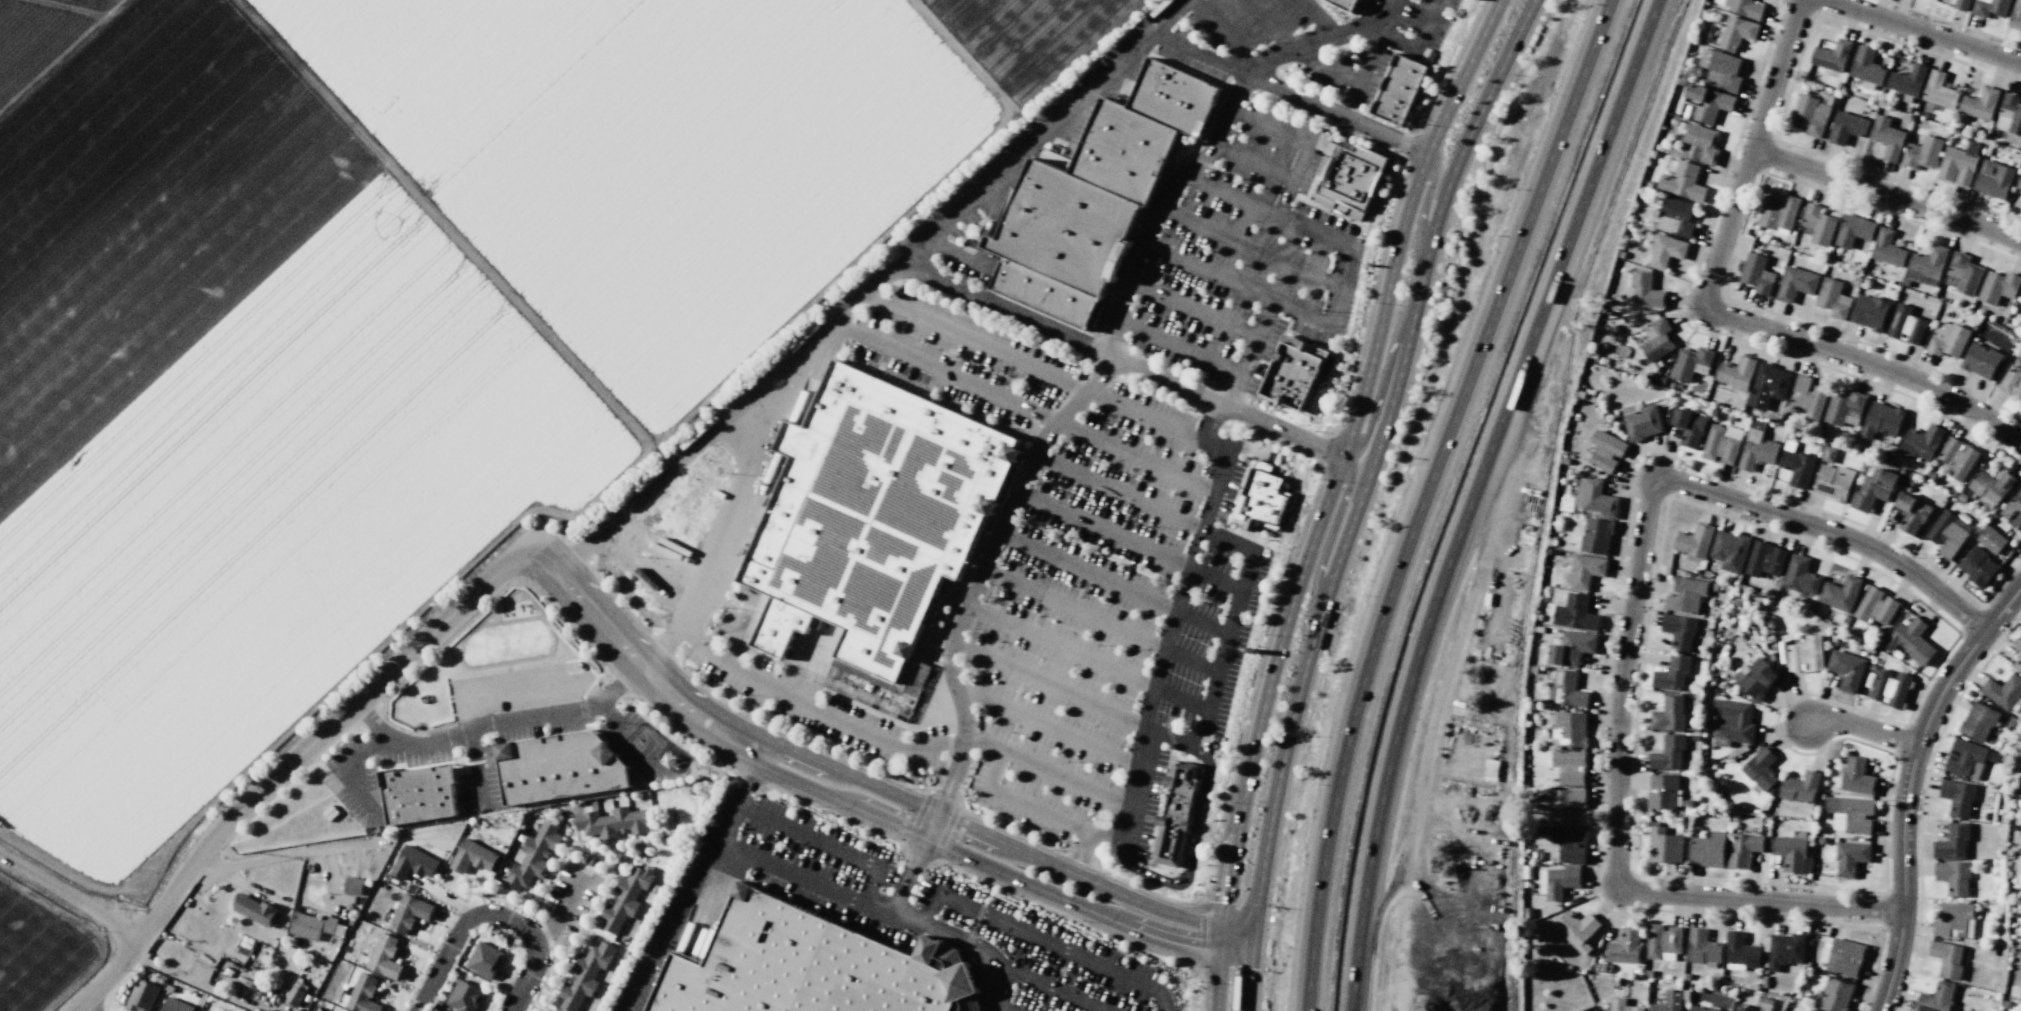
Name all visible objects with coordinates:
building: (1345, 4)
building: (1962, 5)
road: (1391, 6)
building: (1747, 8)
building: (1991, 8)
building: (2015, 16)
road: (1320, 17)
parking lot: (1419, 18)
road: (1271, 24)
parking lot: (1234, 30)
building: (1736, 32)
road: (1916, 33)
road: (1225, 35)
road: (1398, 41)
road: (1199, 55)
building: (1831, 55)
building: (1866, 66)
building: (1721, 70)
road: (1343, 73)
building: (1907, 80)
building: (1399, 89)
building: (1939, 91)
building: (1708, 103)
building: (1980, 104)
road: (1337, 114)
building: (1811, 115)
building: (2009, 115)
building: (1846, 127)
building: (1887, 138)
road: (1305, 142)
building: (1699, 144)
road: (1211, 149)
building: (1922, 153)
road: (1752, 155)
road: (1255, 161)
building: (1959, 164)
building: (1348, 177)
building: (1993, 179)
building: (1683, 182)
road: (984, 186)
building: (2018, 188)
building: (1096, 196)
road: (1429, 196)
road: (1887, 197)
building: (1778, 213)
road: (1282, 217)
building: (1675, 217)
building: (1817, 225)
building: (1853, 230)
road: (1247, 248)
building: (1887, 248)
building: (1665, 251)
parking lot: (1246, 257)
building: (1927, 266)
road: (1206, 272)
building: (1757, 274)
building: (1962, 274)
building: (1796, 283)
building: (1998, 287)
building: (1645, 290)
building: (2020, 296)
building: (1833, 298)
road: (1191, 308)
road: (1006, 310)
building: (1869, 312)
road: (1317, 320)
building: (1905, 325)
crop: (390, 339)
building: (1657, 339)
building: (1947, 339)
road: (978, 342)
road: (1180, 345)
road: (1248, 352)
parking lot: (961, 355)
building: (1981, 361)
building: (1691, 363)
road: (1868, 363)
building: (1293, 373)
building: (1736, 373)
building: (2012, 381)
road: (775, 383)
building: (1768, 386)
building: (1807, 397)
road: (1228, 406)
road: (1024, 408)
building: (1845, 408)
road: (1376, 410)
road: (1151, 417)
building: (1881, 420)
building: (1641, 421)
building: (1689, 427)
road: (1045, 437)
building: (1920, 442)
building: (1721, 444)
building: (1757, 450)
building: (1606, 451)
building: (1828, 454)
building: (1956, 458)
road: (1219, 464)
building: (1833, 482)
building: (1990, 487)
building: (1873, 489)
road: (1120, 490)
road: (1361, 496)
road: (1476, 496)
road: (1328, 497)
road: (1432, 497)
building: (1595, 497)
building: (1264, 501)
road: (1342, 505)
building: (2013, 509)
building: (1911, 513)
building: (874, 527)
road: (1102, 529)
building: (1948, 534)
building: (1596, 536)
building: (1991, 539)
building: (1694, 541)
road: (1195, 547)
road: (1250, 547)
road: (992, 550)
building: (1730, 551)
building: (1765, 559)
building: (1979, 567)
building: (1585, 570)
road: (1086, 571)
building: (1800, 576)
road: (1235, 586)
road: (1179, 589)
building: (1840, 594)
building: (1686, 595)
building: (1875, 605)
road: (1072, 608)
building: (1575, 613)
parking lot: (1109, 614)
road: (1166, 629)
road: (1218, 629)
building: (1680, 631)
building: (1911, 641)
building: (2018, 644)
building: (1571, 648)
road: (1627, 648)
building: (1805, 654)
road: (1189, 661)
road: (640, 664)
building: (2017, 665)
road: (1155, 667)
building: (1846, 670)
building: (1672, 674)
road: (1127, 675)
building: (1755, 678)
building: (1890, 688)
road: (1066, 690)
building: (1566, 690)
road: (1212, 691)
building: (2003, 691)
road: (359, 700)
road: (1146, 705)
building: (1669, 714)
road: (496, 721)
building: (1978, 722)
building: (1732, 723)
road: (1047, 726)
building: (1572, 728)
road: (1864, 732)
road: (1432, 737)
street lamp: (486, 743)
road: (910, 750)
building: (1670, 753)
building: (1965, 759)
street lamp: (366, 765)
building: (1569, 767)
road: (474, 768)
building: (561, 768)
road: (343, 769)
building: (1761, 770)
building: (1857, 776)
parking lot: (477, 781)
road: (750, 781)
road: (1083, 784)
road: (1135, 785)
road: (1909, 785)
building: (1800, 787)
building: (1664, 791)
building: (418, 794)
building: (1957, 797)
building: (1178, 805)
building: (1562, 805)
road: (736, 811)
building: (1850, 814)
road: (935, 819)
building: (613, 822)
building: (1952, 842)
building: (1570, 844)
building: (1664, 845)
road: (1009, 846)
building: (1708, 850)
building: (1743, 850)
road: (1080, 852)
building: (1792, 854)
building: (533, 856)
building: (473, 857)
building: (1850, 858)
road: (253, 863)
building: (413, 863)
road: (790, 872)
road: (1004, 872)
building: (1953, 877)
building: (1560, 881)
building: (353, 886)
building: (625, 898)
road: (69, 899)
road: (1383, 903)
building: (254, 909)
parking lot: (940, 912)
building: (409, 913)
building: (1954, 920)
traffic signals: (1225, 924)
building: (312, 925)
building: (1577, 929)
traffic signals: (1254, 936)
road: (1043, 940)
building: (1663, 941)
building: (1625, 947)
building: (1702, 947)
traffic signals: (1222, 949)
building: (1785, 950)
road: (450, 952)
road: (539, 952)
building: (1741, 953)
building: (384, 957)
building: (1845, 957)
building: (484, 959)
building: (1947, 959)
building: (811, 967)
building: (584, 975)
road: (105, 976)
road: (1057, 987)
building: (363, 994)
building: (1835, 995)
building: (143, 996)
building: (295, 996)
building: (464, 997)
building: (1936, 998)
building: (1669, 1001)
building: (175, 1005)
building: (1623, 1005)
road: (1005, 1007)
building: (1701, 1008)
building: (1743, 1008)
road: (75, 1010)
building: (210, 1010)
building: (338, 1010)
building: (1759, 1010)
building: (1810, 1010)

